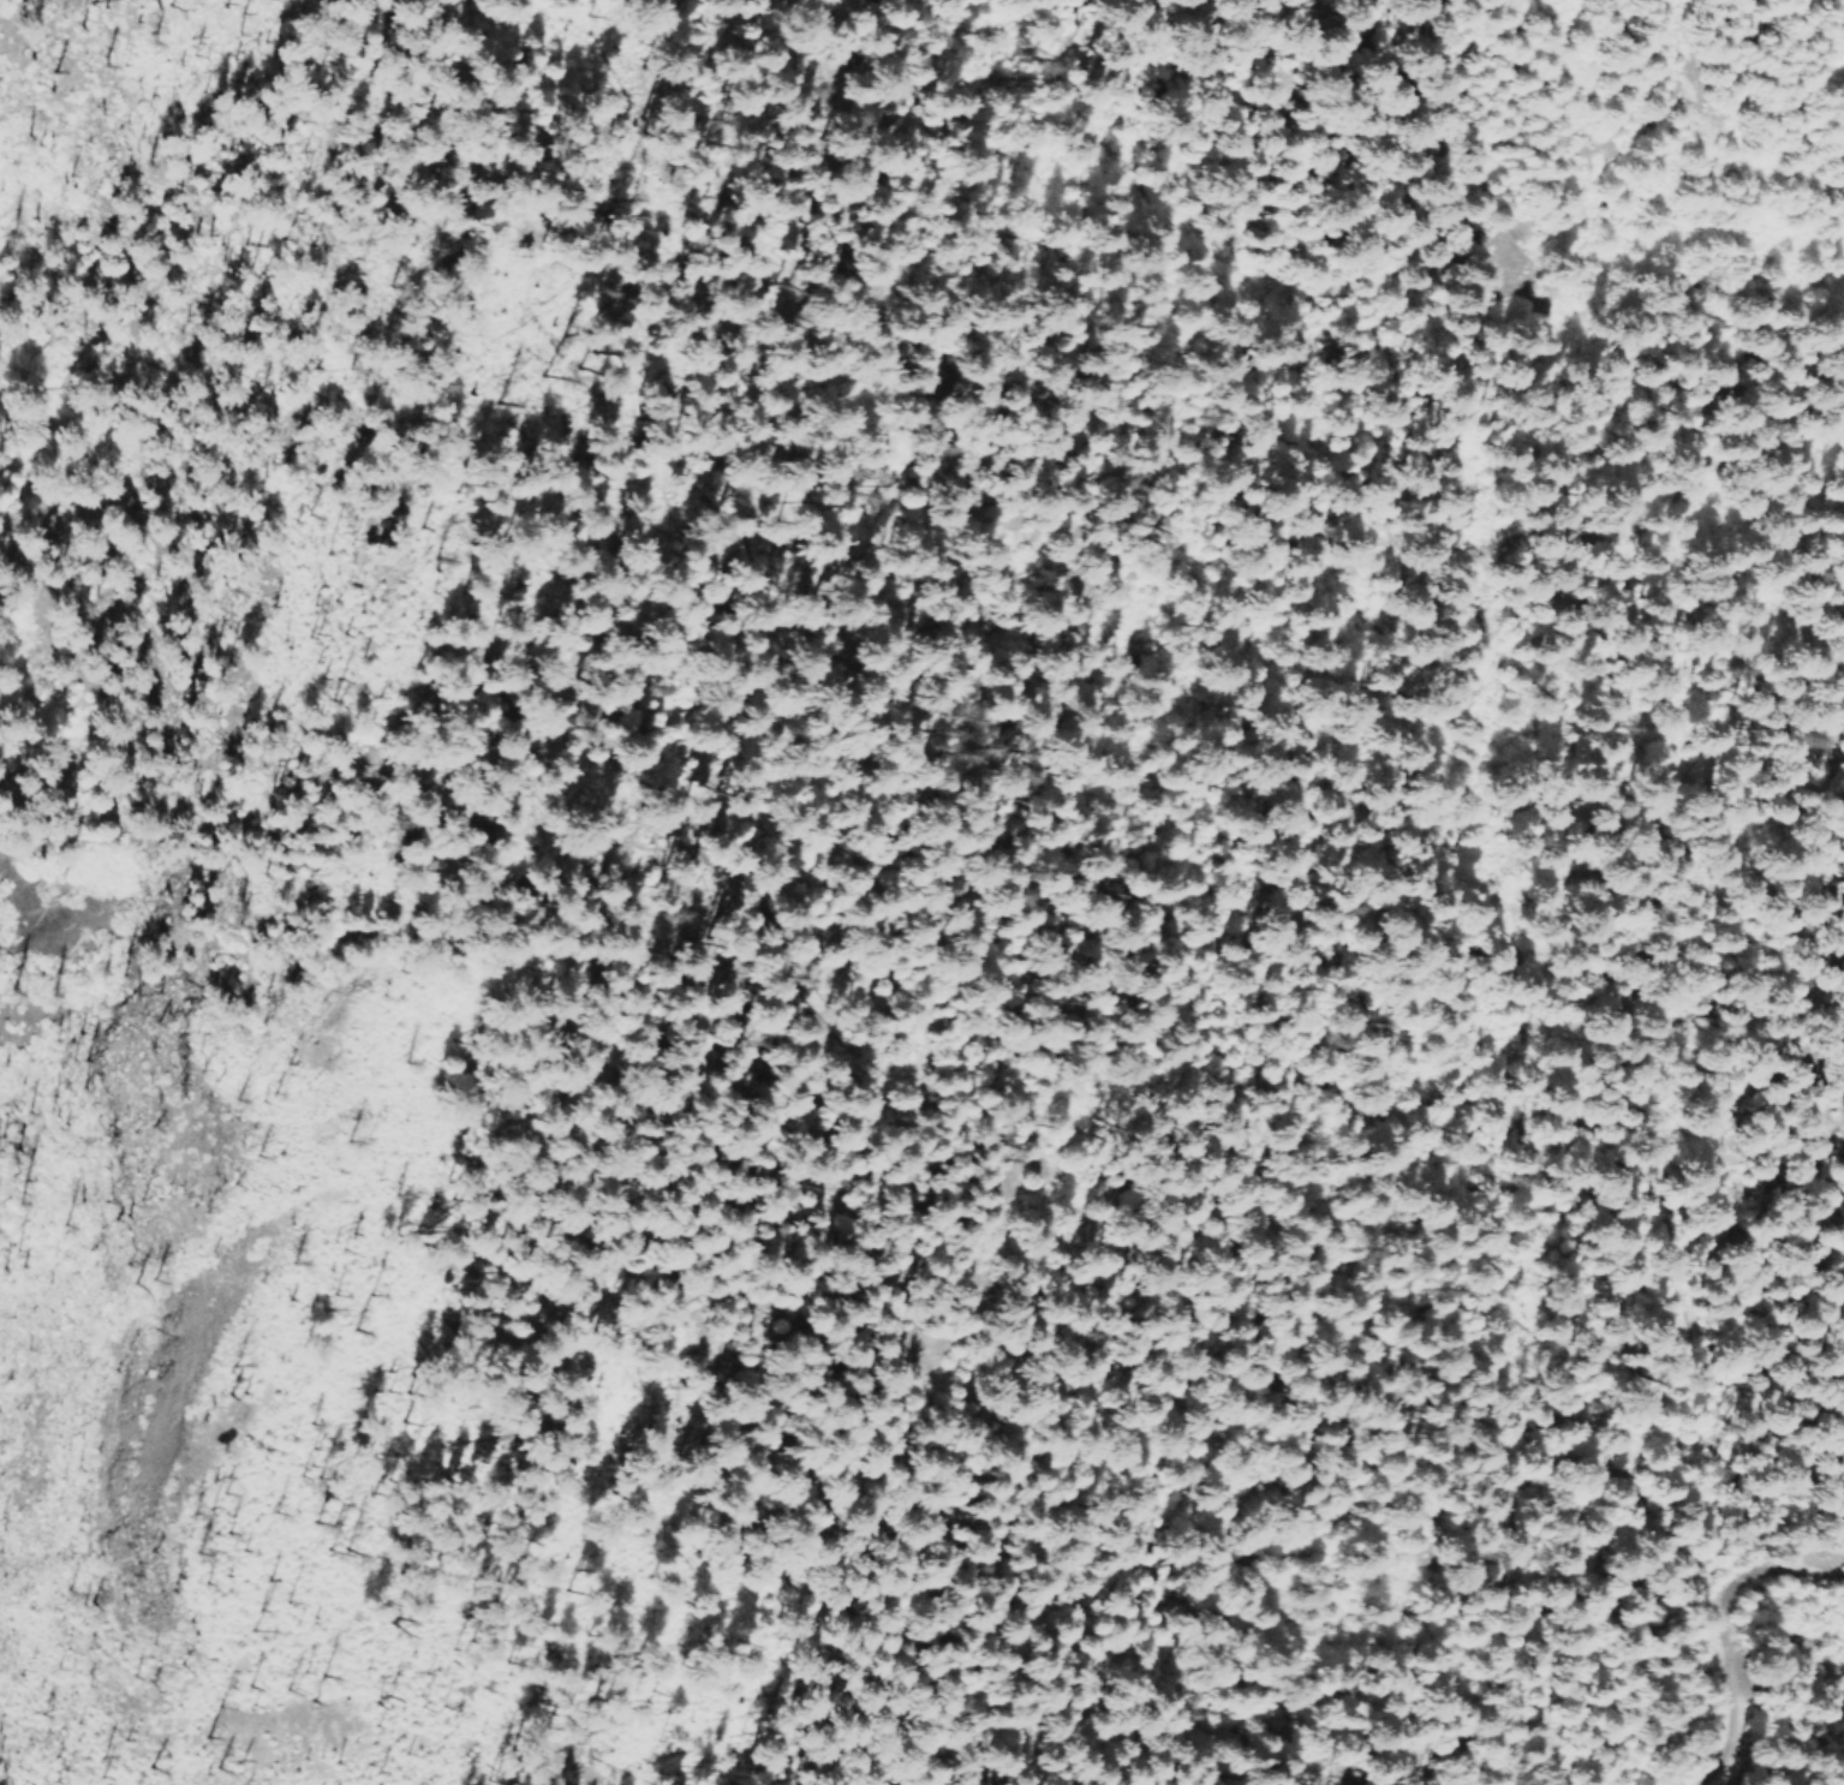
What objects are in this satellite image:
road: (1738, 1641)

